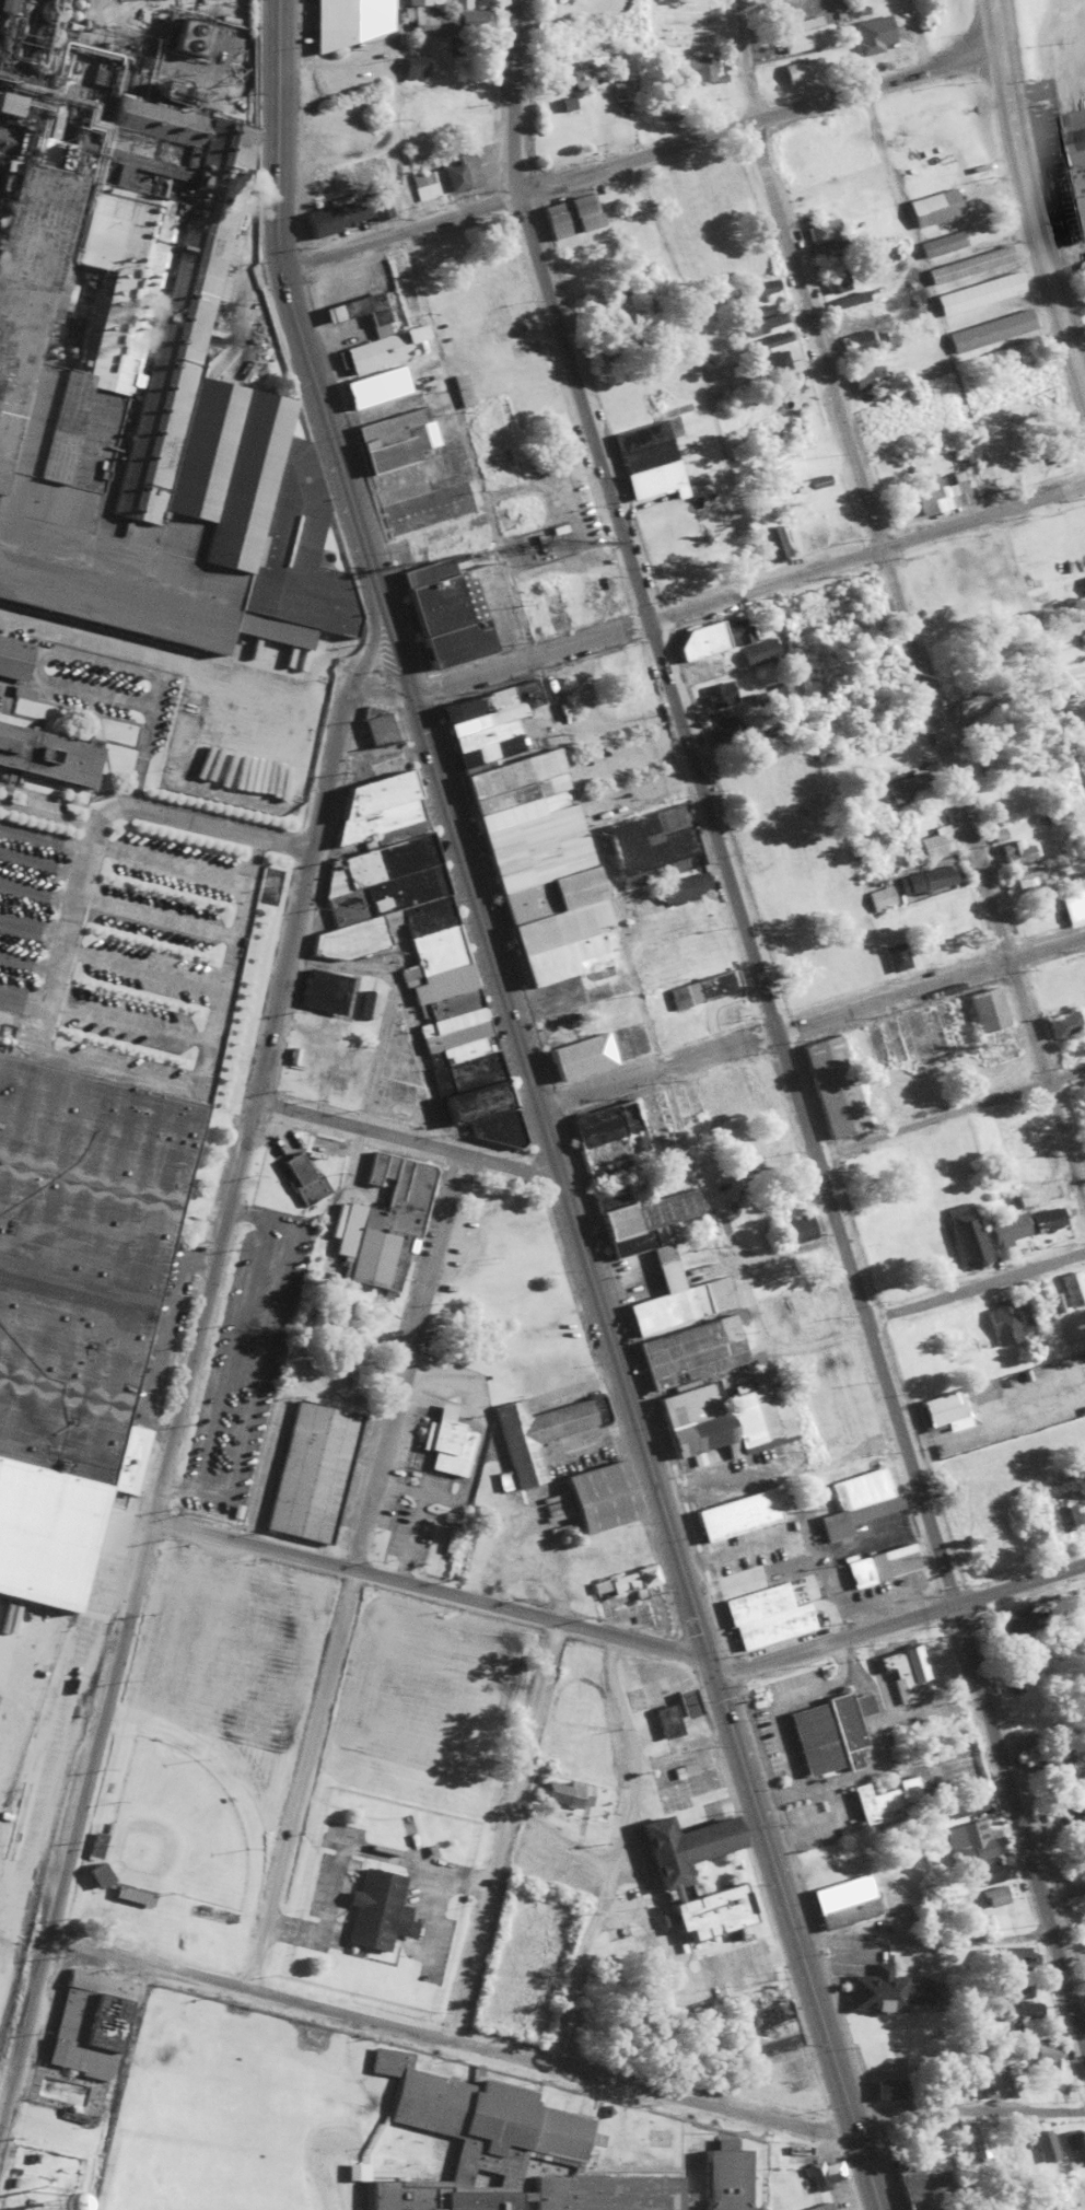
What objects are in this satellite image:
road: (995, 23)
road: (639, 155)
road: (1034, 220)
road: (1071, 295)
road: (748, 588)
railway: (109, 602)
railway: (109, 609)
road: (898, 609)
railway: (107, 617)
road: (748, 952)
road: (812, 1020)
road: (280, 1103)
road: (541, 1110)
road: (899, 1130)
road: (976, 1286)
road: (184, 1377)
road: (353, 1566)
road: (431, 1584)
road: (900, 1615)
road: (1042, 1735)
road: (499, 1825)
road: (1063, 1887)
road: (1047, 1910)
road: (924, 1934)
road: (1067, 1985)
road: (428, 2028)
road: (967, 2103)
water tower: (31, 2208)

